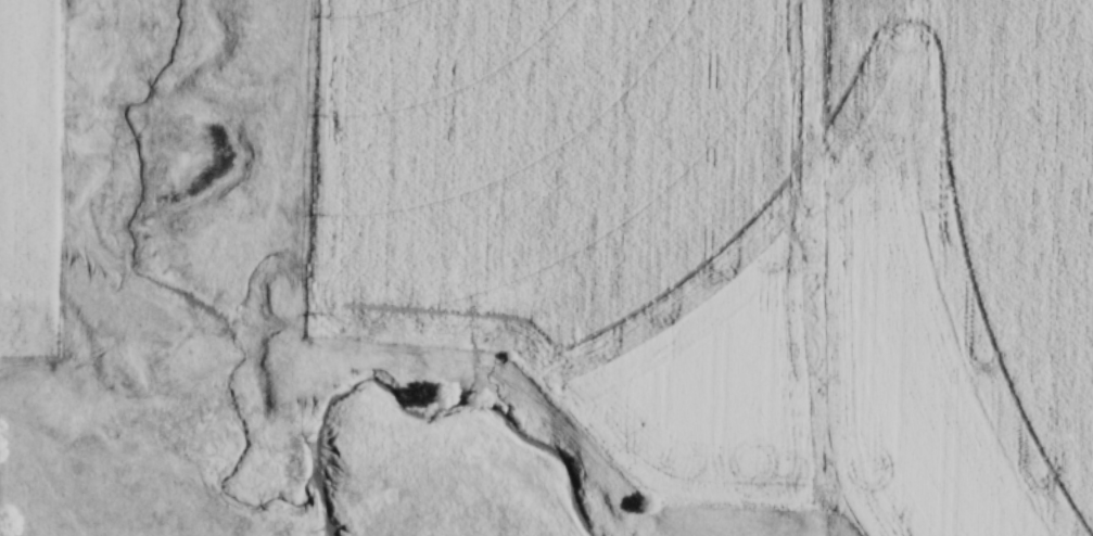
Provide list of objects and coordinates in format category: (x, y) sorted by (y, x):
river: (439, 411)

